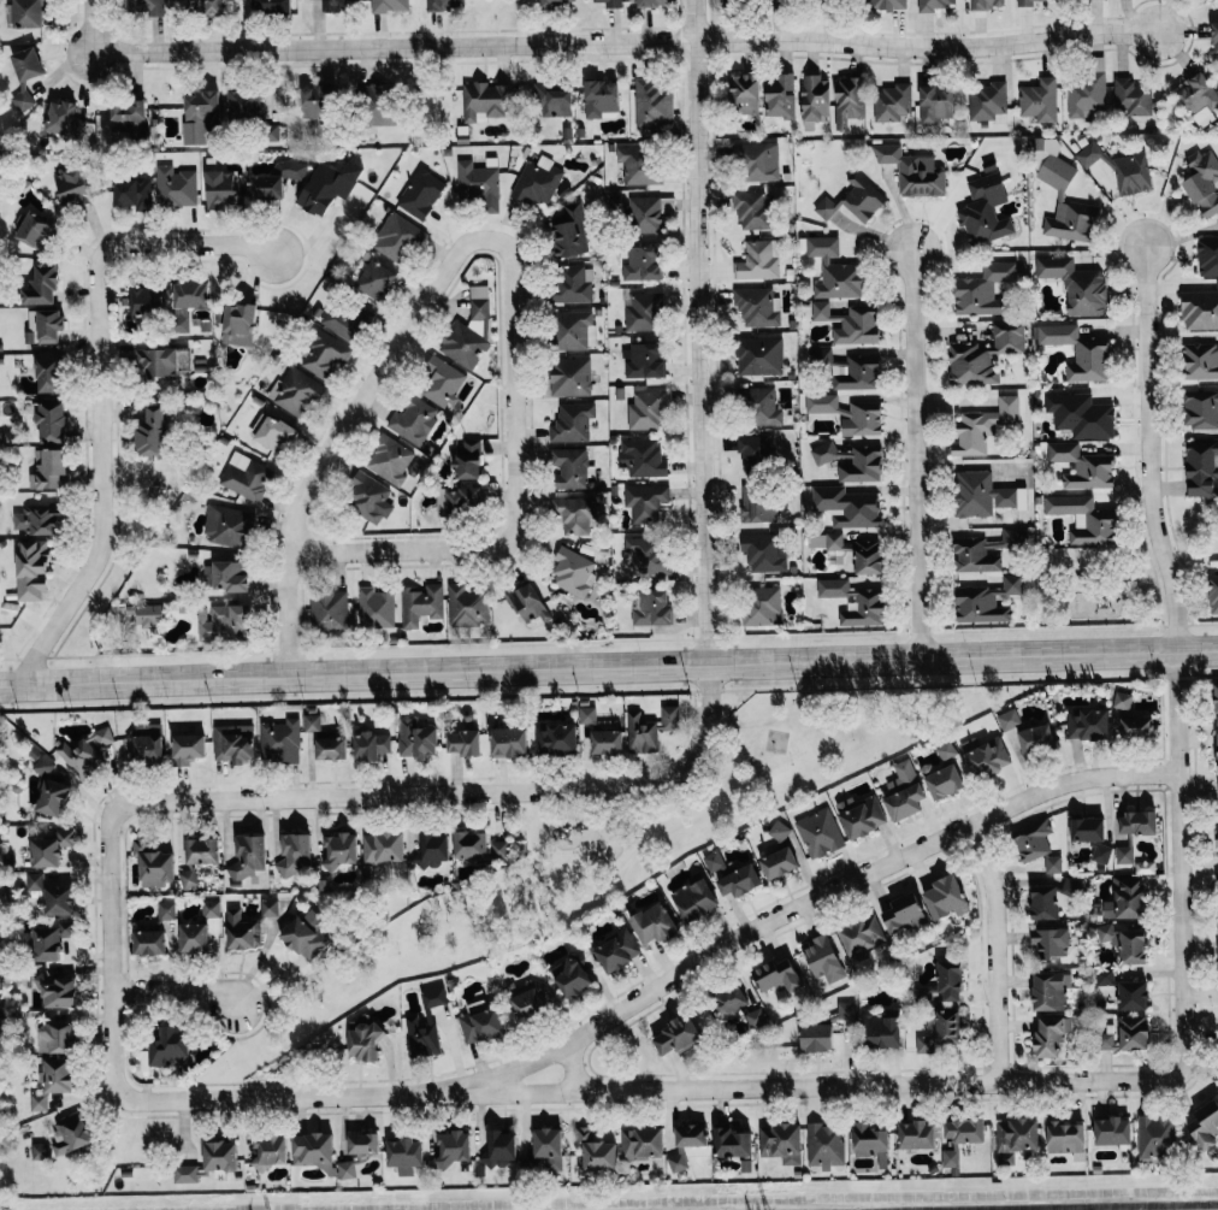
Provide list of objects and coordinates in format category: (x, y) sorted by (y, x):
building: (555, 2)
building: (652, 2)
building: (1027, 2)
building: (444, 4)
building: (611, 4)
building: (987, 4)
building: (335, 5)
building: (389, 5)
building: (887, 5)
building: (203, 6)
building: (150, 7)
building: (273, 7)
building: (26, 13)
road: (90, 25)
building: (1214, 39)
road: (625, 42)
building: (26, 63)
building: (744, 93)
building: (1086, 94)
building: (780, 95)
building: (1130, 96)
building: (602, 98)
building: (815, 98)
building: (22, 99)
building: (1037, 99)
building: (485, 100)
building: (551, 100)
building: (849, 100)
building: (987, 101)
building: (244, 102)
building: (378, 102)
building: (892, 102)
building: (935, 102)
building: (652, 104)
building: (199, 113)
building: (64, 119)
building: (128, 119)
building: (757, 161)
building: (640, 165)
building: (1119, 169)
building: (913, 170)
building: (276, 178)
building: (538, 181)
building: (1202, 181)
building: (479, 182)
building: (72, 185)
building: (327, 185)
building: (175, 187)
building: (220, 188)
building: (132, 190)
building: (420, 193)
building: (855, 200)
building: (1065, 202)
building: (750, 208)
building: (985, 209)
building: (644, 213)
building: (34, 228)
building: (569, 230)
building: (397, 236)
building: (1208, 255)
building: (758, 259)
building: (641, 261)
building: (834, 270)
building: (376, 278)
building: (570, 283)
building: (1076, 284)
building: (41, 285)
building: (982, 288)
building: (191, 293)
building: (143, 299)
building: (756, 306)
building: (1200, 308)
building: (639, 311)
building: (240, 315)
building: (344, 318)
building: (850, 321)
building: (46, 323)
building: (469, 327)
building: (572, 329)
road: (700, 334)
building: (1078, 352)
building: (324, 353)
building: (985, 354)
building: (759, 355)
building: (822, 355)
building: (643, 359)
building: (1200, 360)
building: (156, 361)
building: (856, 372)
building: (48, 373)
building: (569, 376)
building: (441, 380)
building: (295, 390)
road: (97, 391)
building: (821, 402)
building: (759, 405)
building: (645, 408)
building: (1202, 412)
building: (1081, 414)
building: (862, 419)
building: (52, 420)
building: (413, 420)
building: (572, 421)
building: (983, 425)
building: (152, 432)
building: (276, 433)
road: (339, 433)
building: (755, 448)
road: (1148, 449)
building: (827, 453)
road: (915, 455)
building: (643, 456)
building: (389, 459)
building: (468, 459)
building: (862, 465)
building: (1082, 465)
building: (48, 467)
building: (569, 467)
building: (1201, 467)
building: (246, 476)
building: (980, 494)
road: (515, 496)
building: (368, 498)
building: (461, 500)
building: (644, 503)
building: (756, 504)
building: (847, 506)
building: (573, 514)
building: (1084, 519)
building: (35, 520)
building: (227, 525)
building: (824, 541)
building: (762, 553)
building: (976, 554)
building: (646, 555)
building: (868, 555)
building: (31, 571)
building: (573, 571)
building: (225, 574)
building: (1213, 592)
building: (987, 601)
building: (870, 602)
building: (421, 603)
building: (528, 603)
building: (467, 604)
building: (650, 606)
building: (762, 606)
building: (376, 607)
building: (329, 609)
building: (149, 614)
building: (223, 621)
road: (609, 669)
building: (1123, 702)
building: (1217, 703)
building: (587, 715)
building: (1009, 719)
building: (312, 722)
building: (1088, 722)
building: (1137, 726)
building: (650, 730)
building: (555, 737)
building: (1217, 737)
building: (1036, 738)
building: (416, 739)
building: (279, 740)
building: (508, 740)
building: (607, 740)
building: (147, 742)
building: (463, 742)
building: (233, 743)
building: (371, 744)
building: (188, 748)
building: (331, 748)
building: (947, 751)
building: (84, 754)
building: (985, 755)
building: (43, 765)
building: (942, 779)
road: (455, 791)
building: (904, 791)
building: (52, 797)
building: (861, 815)
building: (1139, 821)
building: (1088, 828)
building: (779, 830)
building: (820, 832)
building: (1217, 838)
building: (471, 844)
building: (1037, 845)
building: (383, 846)
building: (49, 848)
building: (202, 850)
building: (339, 850)
building: (434, 850)
building: (497, 850)
building: (1101, 852)
building: (1124, 854)
building: (295, 855)
building: (248, 856)
road: (1178, 861)
building: (779, 862)
building: (153, 864)
building: (732, 875)
building: (1217, 878)
building: (188, 879)
building: (34, 881)
building: (946, 897)
building: (694, 898)
building: (1125, 898)
building: (58, 899)
road: (806, 902)
building: (1046, 902)
building: (211, 908)
building: (268, 908)
building: (166, 910)
building: (904, 914)
building: (654, 923)
building: (241, 929)
building: (862, 933)
building: (194, 937)
building: (302, 937)
building: (51, 939)
building: (149, 942)
building: (1052, 942)
building: (1125, 942)
road: (994, 949)
building: (617, 950)
road: (108, 951)
building: (823, 957)
building: (572, 975)
building: (777, 975)
building: (1105, 976)
building: (946, 981)
road: (175, 986)
building: (57, 990)
building: (1050, 991)
building: (1133, 994)
building: (528, 997)
building: (737, 1004)
building: (846, 1010)
building: (480, 1022)
building: (425, 1023)
building: (948, 1026)
building: (882, 1031)
building: (1125, 1033)
building: (1051, 1035)
building: (55, 1037)
building: (817, 1037)
building: (674, 1038)
building: (366, 1040)
building: (168, 1045)
road: (570, 1068)
building: (52, 1082)
road: (646, 1087)
building: (1204, 1125)
building: (1113, 1131)
building: (71, 1134)
building: (917, 1134)
building: (692, 1135)
building: (1155, 1135)
building: (962, 1137)
building: (1066, 1137)
building: (1016, 1138)
building: (733, 1141)
building: (363, 1143)
building: (643, 1143)
building: (781, 1143)
building: (871, 1143)
building: (454, 1146)
building: (826, 1146)
building: (271, 1147)
building: (498, 1147)
building: (549, 1147)
building: (312, 1149)
building: (40, 1151)
building: (596, 1151)
building: (404, 1155)
building: (219, 1156)
building: (676, 1162)
building: (345, 1169)
building: (185, 1173)

